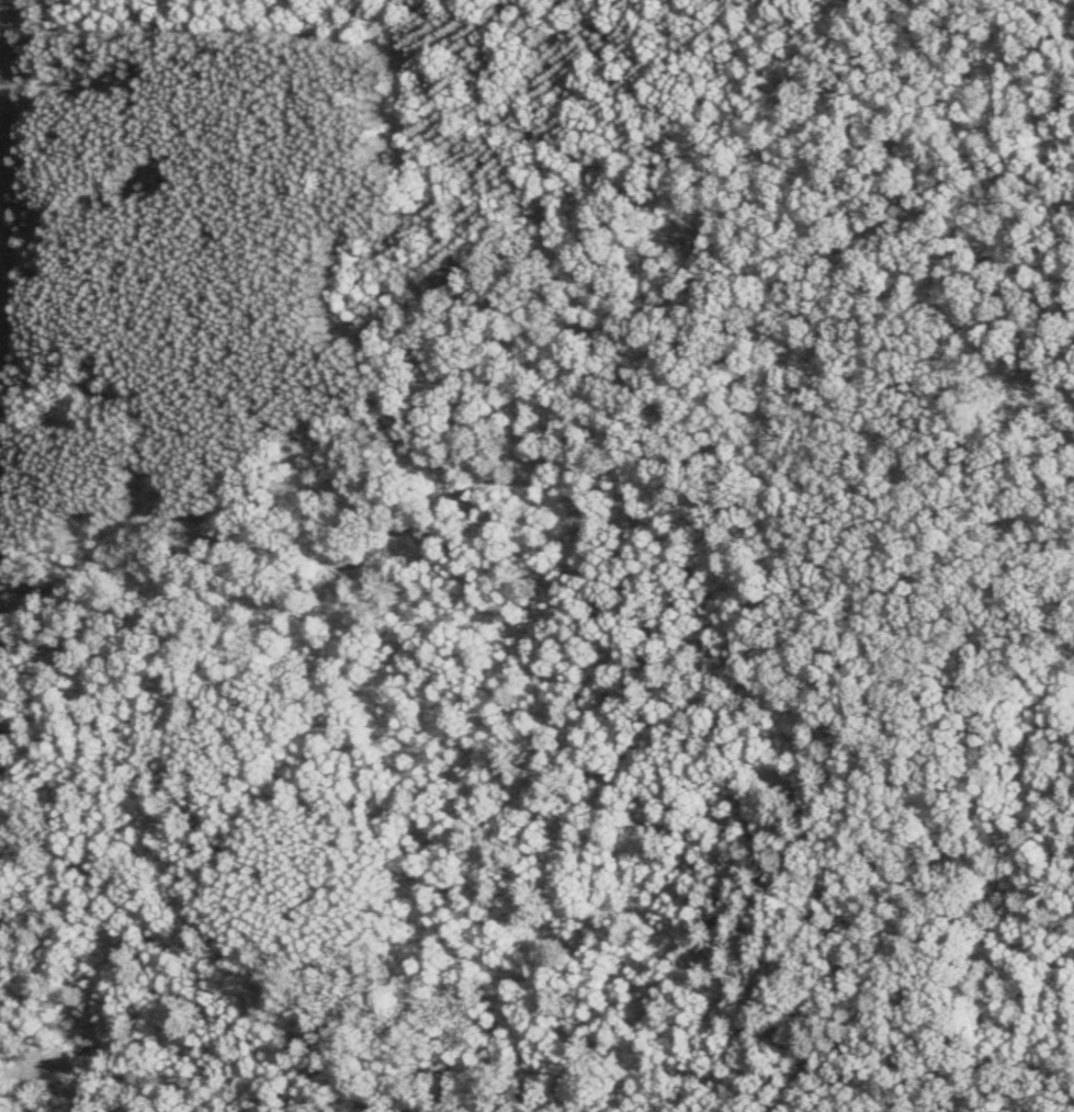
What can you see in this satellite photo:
road: (0, 37)
road: (536, 1056)

